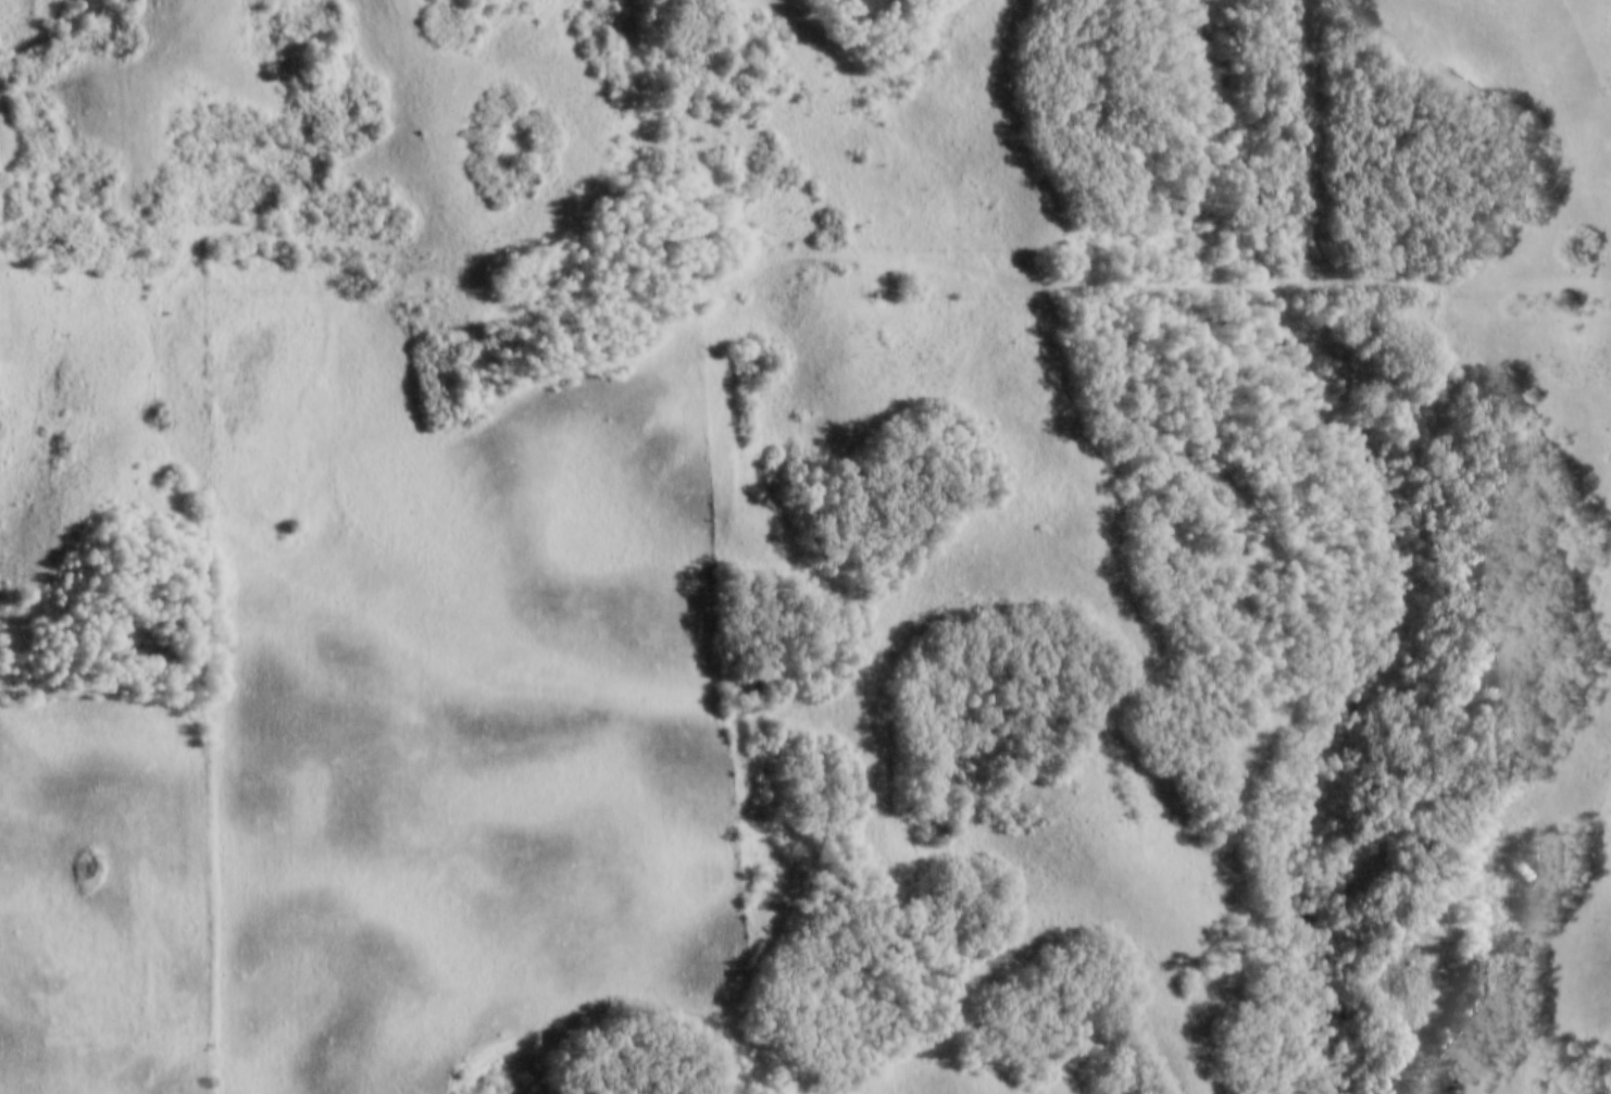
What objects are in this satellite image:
road: (1157, 278)
road: (491, 672)

